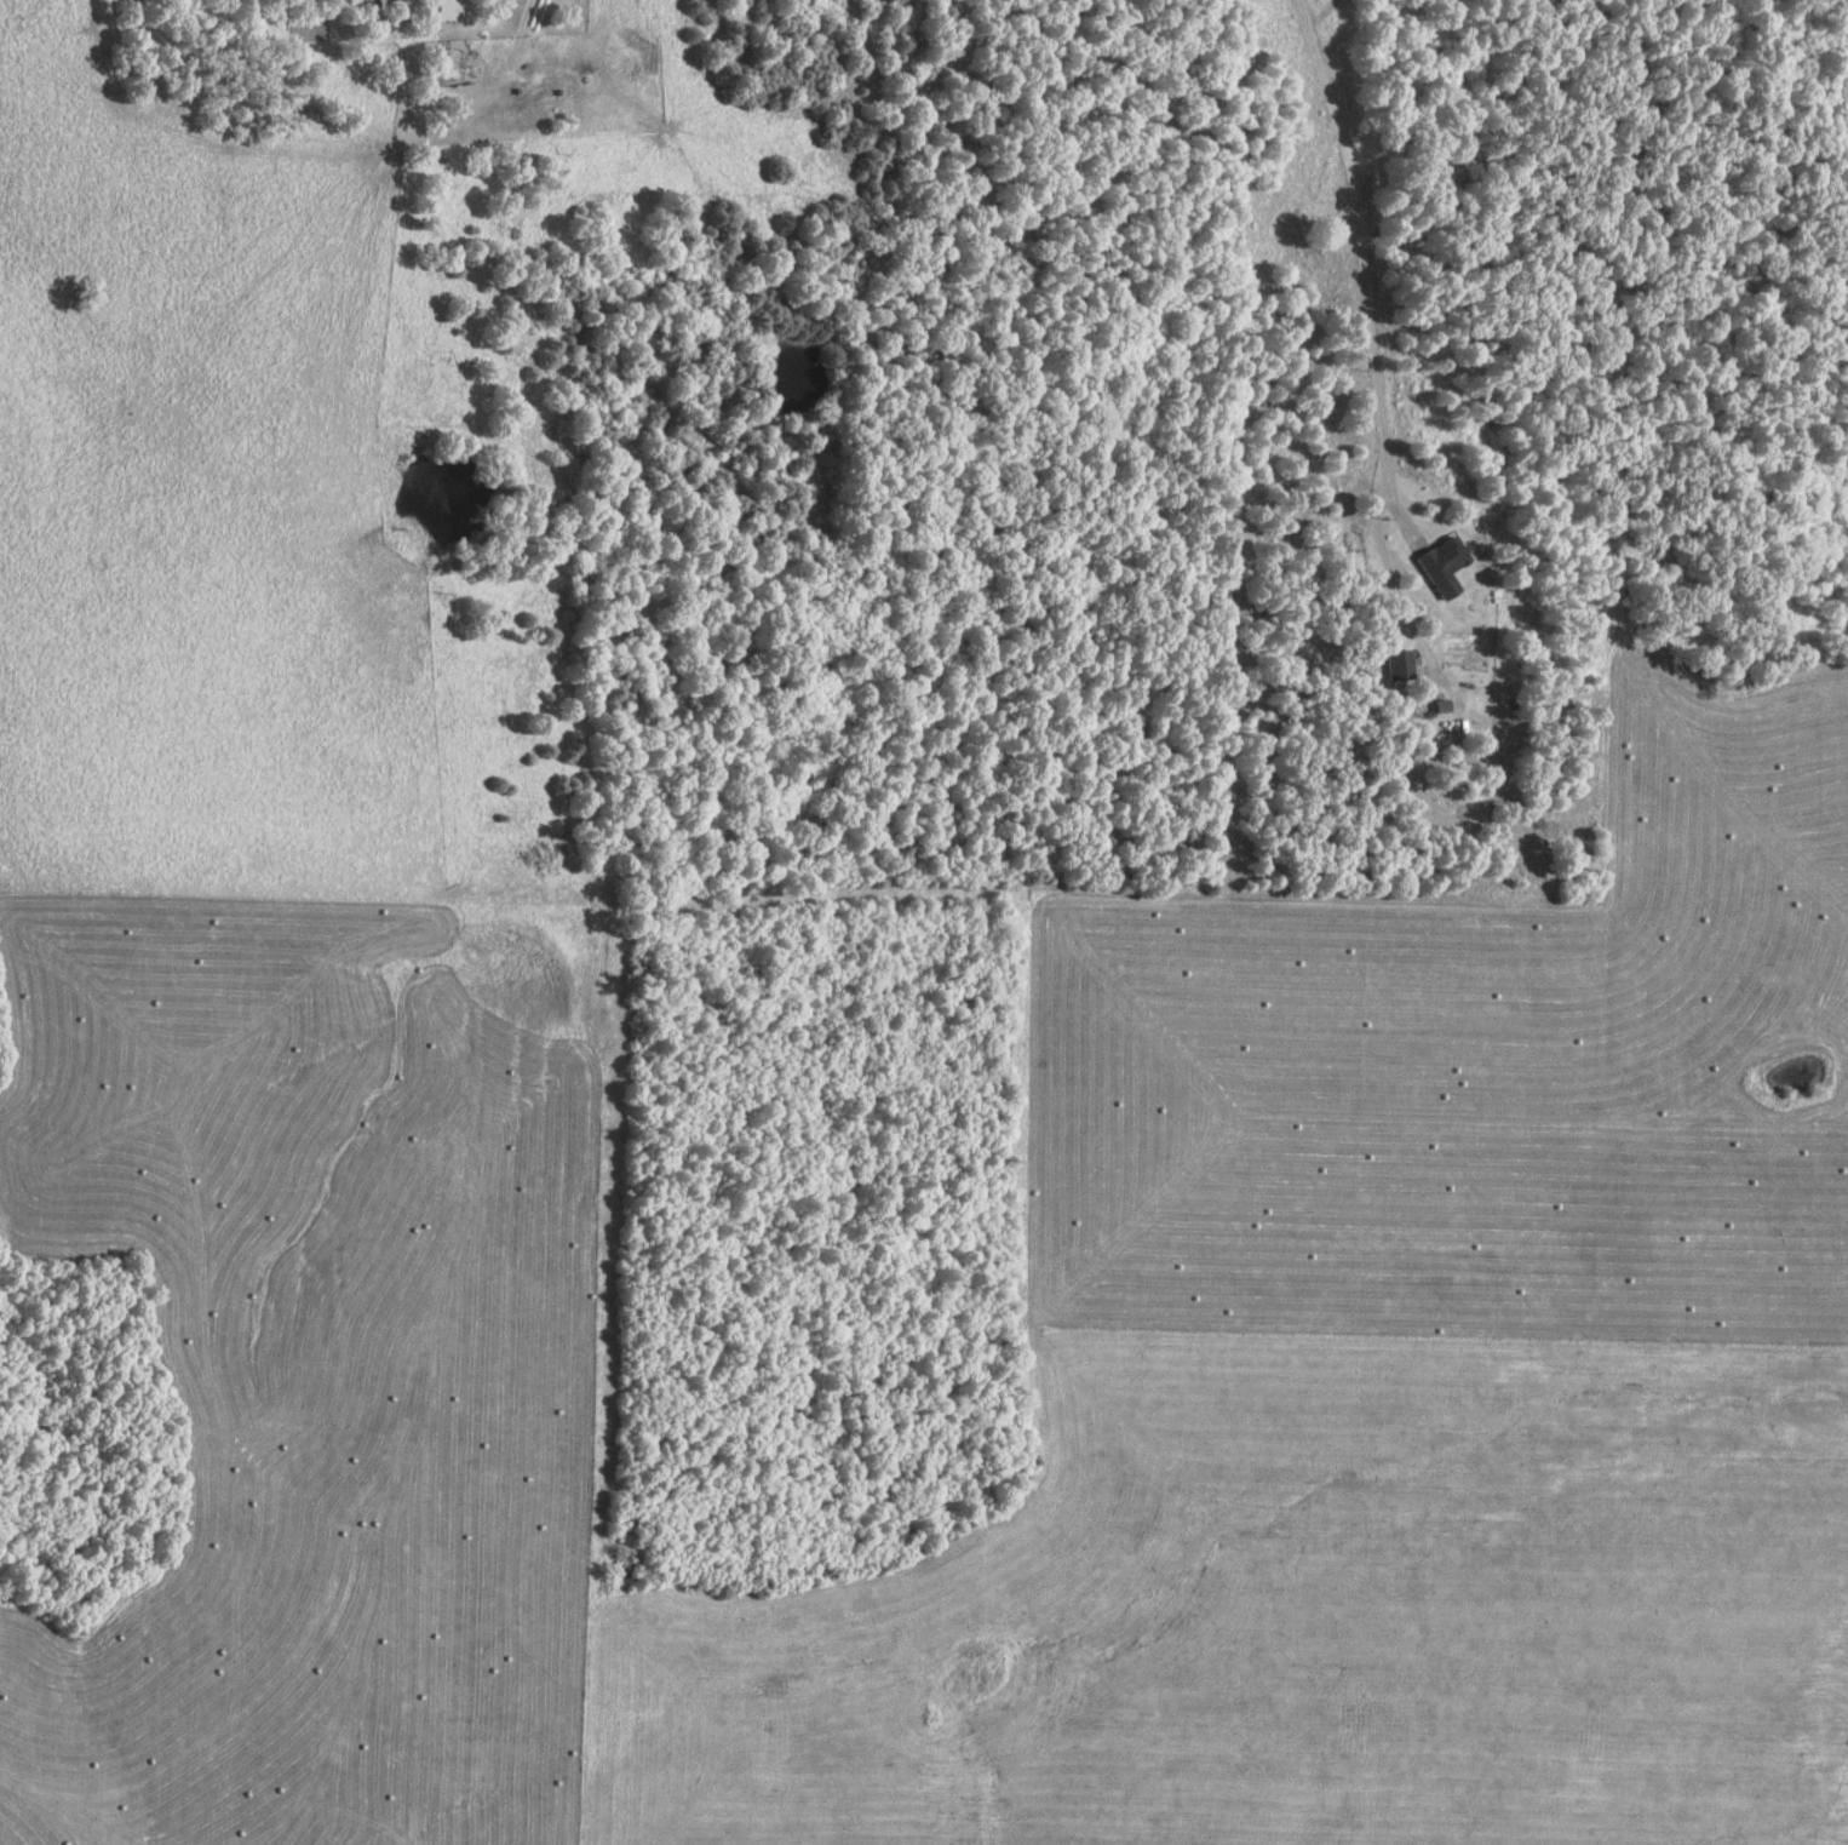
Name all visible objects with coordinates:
road: (1366, 270)
building: (1447, 566)
building: (1401, 664)

